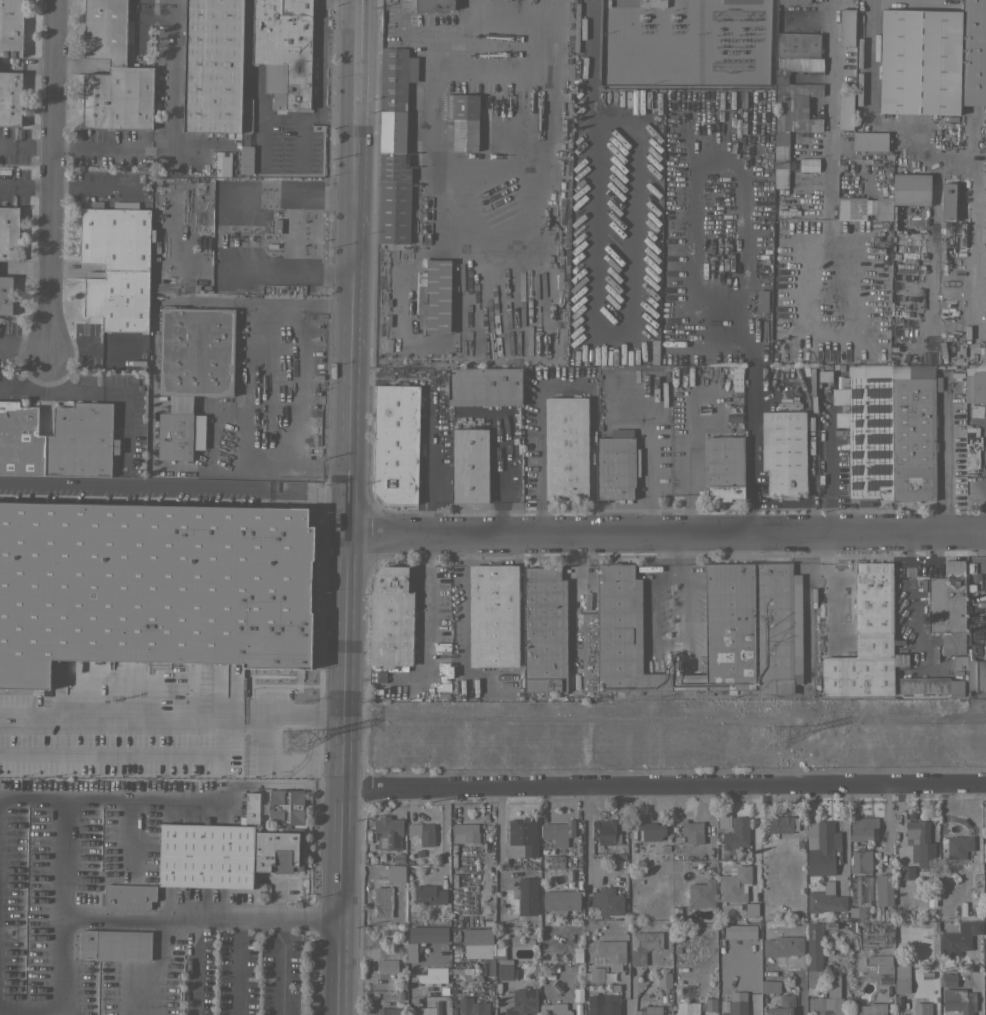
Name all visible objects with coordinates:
building: (793, 1)
building: (653, 3)
building: (423, 5)
road: (511, 8)
road: (148, 16)
building: (11, 27)
building: (846, 27)
building: (105, 30)
road: (340, 31)
road: (445, 32)
building: (564, 36)
power substation: (683, 42)
building: (283, 49)
road: (870, 56)
road: (359, 59)
building: (932, 59)
road: (830, 64)
building: (212, 66)
road: (319, 74)
building: (780, 78)
road: (255, 84)
building: (10, 98)
building: (118, 98)
road: (173, 99)
building: (621, 103)
building: (845, 110)
building: (245, 112)
road: (314, 118)
road: (337, 118)
building: (462, 119)
building: (868, 141)
road: (94, 146)
building: (394, 146)
road: (583, 151)
building: (245, 159)
building: (780, 159)
building: (224, 162)
building: (808, 164)
road: (50, 177)
building: (910, 189)
road: (91, 191)
building: (947, 201)
building: (863, 207)
road: (828, 211)
building: (275, 225)
building: (8, 232)
road: (692, 237)
building: (115, 238)
road: (744, 249)
road: (512, 266)
building: (827, 270)
building: (5, 294)
building: (433, 296)
building: (118, 300)
building: (762, 300)
building: (850, 301)
building: (828, 302)
building: (841, 304)
road: (312, 306)
road: (701, 347)
building: (636, 355)
building: (190, 369)
building: (975, 382)
building: (484, 386)
building: (439, 394)
road: (254, 402)
building: (866, 428)
building: (983, 429)
building: (913, 431)
building: (20, 440)
building: (80, 440)
road: (749, 440)
building: (395, 443)
building: (566, 448)
building: (783, 452)
road: (943, 452)
road: (346, 454)
building: (616, 464)
building: (469, 465)
building: (724, 466)
road: (322, 470)
road: (648, 475)
road: (172, 489)
road: (665, 534)
building: (175, 579)
road: (826, 592)
building: (948, 606)
building: (493, 615)
building: (390, 617)
building: (544, 629)
building: (750, 629)
building: (622, 634)
road: (652, 634)
building: (865, 637)
road: (422, 645)
building: (588, 650)
building: (959, 662)
building: (677, 663)
building: (976, 672)
building: (441, 680)
building: (930, 685)
road: (169, 717)
power tower: (771, 738)
power tower: (288, 744)
road: (129, 756)
road: (661, 788)
building: (251, 807)
building: (723, 820)
building: (783, 823)
building: (863, 828)
building: (651, 830)
building: (558, 831)
building: (607, 831)
building: (692, 831)
building: (387, 832)
building: (422, 832)
building: (465, 832)
road: (499, 834)
building: (523, 834)
building: (736, 834)
road: (842, 836)
building: (984, 838)
road: (587, 841)
building: (920, 843)
building: (957, 846)
building: (822, 847)
building: (232, 848)
building: (860, 859)
building: (553, 861)
building: (617, 866)
building: (906, 872)
building: (396, 873)
building: (734, 884)
building: (868, 890)
building: (702, 893)
building: (428, 894)
building: (882, 894)
building: (527, 895)
building: (127, 896)
building: (382, 900)
building: (561, 901)
building: (607, 901)
building: (825, 901)
road: (335, 902)
building: (751, 909)
road: (124, 917)
building: (740, 931)
building: (898, 931)
building: (427, 934)
building: (958, 938)
building: (477, 942)
building: (116, 944)
building: (643, 945)
building: (782, 945)
building: (411, 951)
building: (612, 952)
building: (814, 953)
building: (578, 954)
building: (503, 963)
building: (387, 965)
road: (195, 966)
road: (237, 966)
road: (280, 966)
building: (879, 967)
building: (464, 972)
building: (596, 974)
building: (433, 975)
building: (901, 979)
building: (664, 980)
building: (949, 980)
road: (976, 985)
building: (770, 986)
building: (577, 993)
building: (985, 999)
building: (829, 1000)
building: (958, 1000)
building: (521, 1002)
building: (603, 1004)
building: (710, 1004)
building: (472, 1006)
building: (783, 1006)
building: (732, 1007)
building: (686, 1008)
building: (922, 1008)
building: (432, 1009)
building: (554, 1009)
building: (869, 1009)
building: (649, 1010)
building: (389, 1011)

